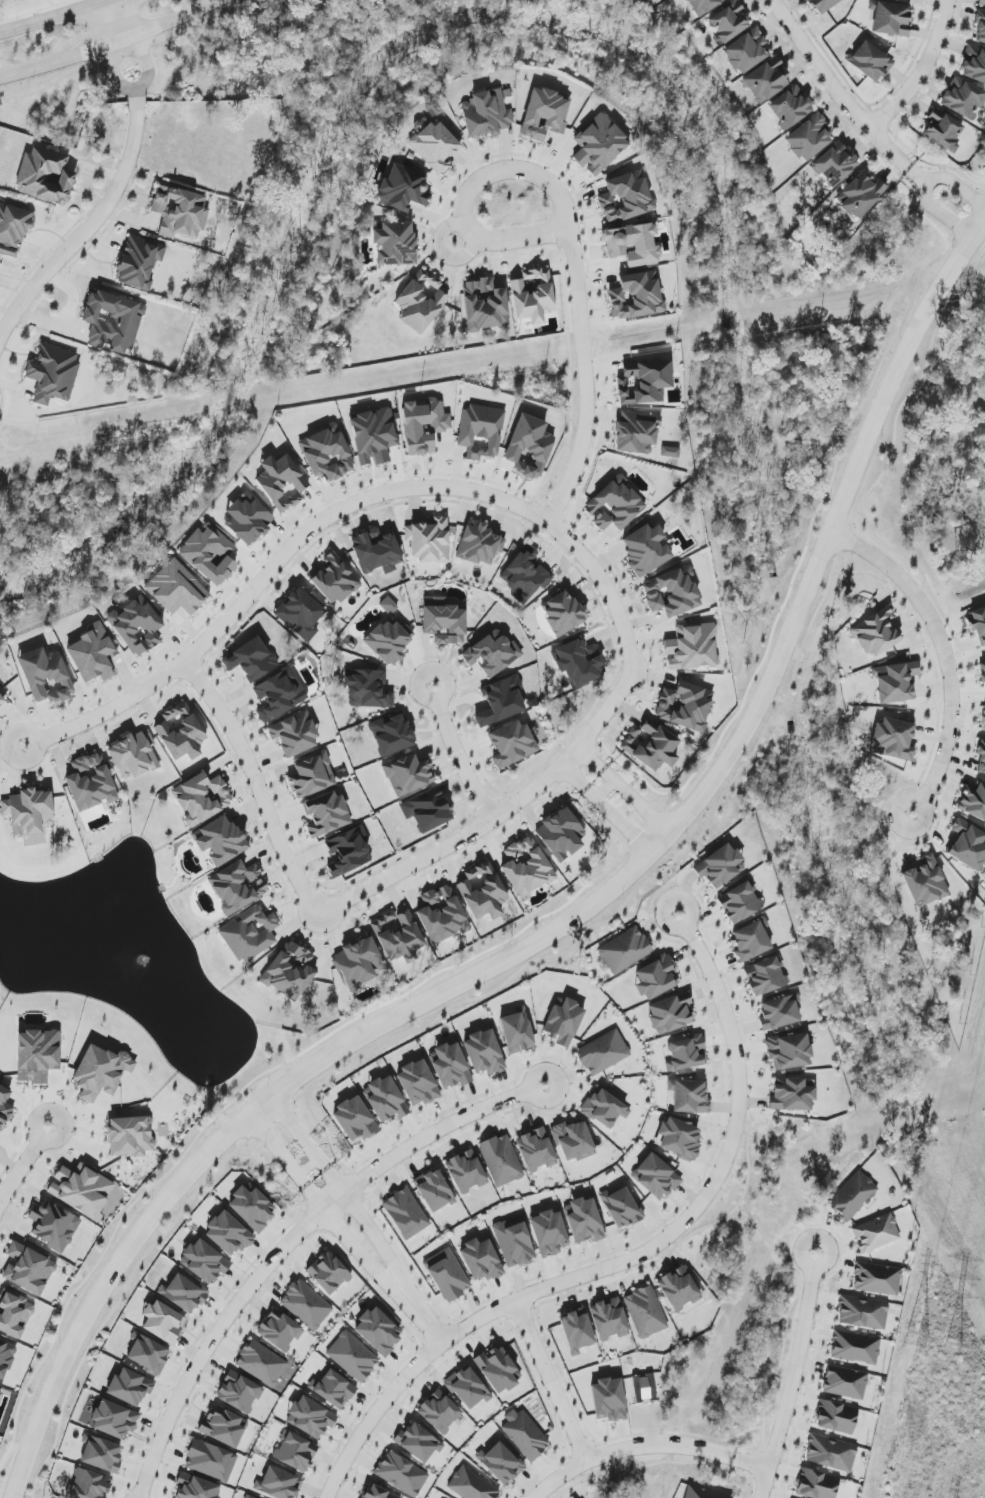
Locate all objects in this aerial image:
building: (982, 3)
building: (823, 5)
building: (702, 6)
road: (52, 16)
building: (890, 18)
road: (116, 20)
building: (728, 22)
building: (980, 26)
road: (161, 39)
road: (108, 46)
building: (746, 51)
building: (870, 62)
building: (974, 64)
road: (144, 65)
road: (114, 71)
road: (921, 73)
building: (766, 81)
road: (842, 97)
building: (963, 99)
building: (789, 108)
building: (487, 113)
building: (544, 114)
building: (942, 131)
building: (808, 138)
building: (598, 145)
building: (435, 146)
building: (835, 164)
building: (45, 175)
road: (924, 187)
building: (401, 189)
building: (860, 195)
building: (625, 197)
building: (179, 212)
road: (89, 227)
building: (13, 229)
road: (535, 235)
building: (395, 243)
building: (633, 244)
road: (574, 261)
building: (139, 262)
road: (971, 267)
building: (532, 296)
building: (636, 296)
building: (420, 301)
building: (485, 305)
building: (112, 322)
building: (53, 374)
building: (643, 382)
building: (423, 425)
building: (481, 431)
building: (636, 432)
building: (373, 436)
building: (529, 446)
building: (670, 452)
building: (327, 453)
building: (281, 482)
building: (614, 505)
road: (340, 509)
building: (247, 519)
building: (428, 540)
building: (480, 544)
building: (645, 549)
building: (376, 551)
building: (209, 554)
building: (525, 574)
building: (335, 580)
building: (176, 589)
building: (672, 592)
building: (388, 605)
building: (562, 613)
building: (300, 614)
building: (443, 621)
building: (978, 625)
building: (137, 626)
building: (875, 633)
building: (389, 642)
building: (692, 647)
building: (492, 653)
building: (93, 654)
road: (945, 655)
building: (251, 659)
building: (578, 662)
building: (983, 674)
building: (46, 676)
building: (895, 682)
building: (368, 689)
building: (279, 694)
building: (3, 696)
building: (501, 701)
building: (685, 706)
building: (983, 718)
building: (181, 732)
building: (294, 734)
building: (391, 734)
building: (893, 739)
building: (511, 743)
building: (650, 745)
road: (460, 753)
building: (134, 755)
building: (981, 756)
building: (408, 775)
building: (311, 776)
building: (90, 782)
road: (259, 785)
road: (606, 788)
road: (624, 788)
building: (202, 798)
building: (973, 801)
road: (606, 806)
building: (426, 810)
building: (29, 813)
building: (326, 814)
road: (499, 817)
building: (561, 834)
building: (220, 840)
building: (967, 845)
building: (348, 852)
building: (720, 866)
building: (526, 867)
building: (925, 881)
building: (237, 886)
building: (482, 891)
building: (739, 903)
building: (442, 915)
road: (566, 923)
building: (249, 934)
building: (398, 936)
building: (751, 940)
building: (625, 951)
fountain: (141, 960)
building: (359, 963)
building: (289, 971)
building: (765, 976)
building: (656, 978)
building: (779, 1012)
building: (670, 1014)
building: (563, 1022)
building: (517, 1031)
building: (788, 1051)
building: (484, 1052)
building: (603, 1052)
building: (686, 1054)
building: (37, 1055)
building: (450, 1066)
building: (101, 1072)
building: (418, 1083)
building: (792, 1094)
building: (689, 1096)
building: (385, 1100)
building: (4, 1107)
building: (604, 1108)
building: (354, 1121)
building: (130, 1136)
building: (679, 1139)
building: (573, 1141)
building: (536, 1150)
building: (501, 1160)
road: (25, 1161)
building: (466, 1171)
building: (655, 1177)
road: (341, 1185)
building: (82, 1190)
building: (434, 1190)
building: (852, 1196)
road: (319, 1202)
building: (252, 1207)
building: (621, 1208)
building: (406, 1213)
building: (584, 1220)
building: (53, 1225)
building: (549, 1233)
building: (875, 1233)
building: (228, 1234)
road: (294, 1240)
building: (514, 1242)
road: (632, 1258)
building: (481, 1260)
building: (204, 1262)
building: (28, 1269)
building: (328, 1273)
building: (447, 1275)
building: (877, 1279)
building: (679, 1289)
building: (183, 1293)
building: (306, 1305)
building: (645, 1312)
building: (863, 1312)
building: (14, 1313)
road: (420, 1313)
building: (609, 1319)
building: (163, 1322)
building: (279, 1330)
building: (576, 1330)
building: (378, 1331)
road: (199, 1336)
building: (855, 1347)
power tower: (949, 1349)
building: (147, 1354)
building: (352, 1356)
building: (6, 1358)
building: (261, 1363)
building: (498, 1369)
road: (793, 1374)
road: (552, 1380)
building: (845, 1382)
building: (129, 1387)
road: (414, 1388)
building: (467, 1388)
building: (644, 1388)
building: (332, 1389)
building: (0, 1390)
building: (239, 1392)
building: (608, 1400)
building: (439, 1411)
power tower: (901, 1412)
building: (310, 1417)
building: (836, 1417)
building: (114, 1420)
building: (223, 1427)
building: (524, 1434)
building: (418, 1442)
road: (646, 1445)
building: (295, 1452)
building: (831, 1453)
building: (101, 1454)
building: (210, 1461)
building: (501, 1463)
road: (652, 1465)
road: (547, 1469)
building: (401, 1474)
road: (752, 1480)
building: (278, 1484)
building: (816, 1484)
building: (89, 1485)
building: (471, 1485)
road: (619, 1485)
building: (196, 1487)
building: (376, 1492)
building: (702, 1493)
road: (541, 1495)
building: (248, 1497)

